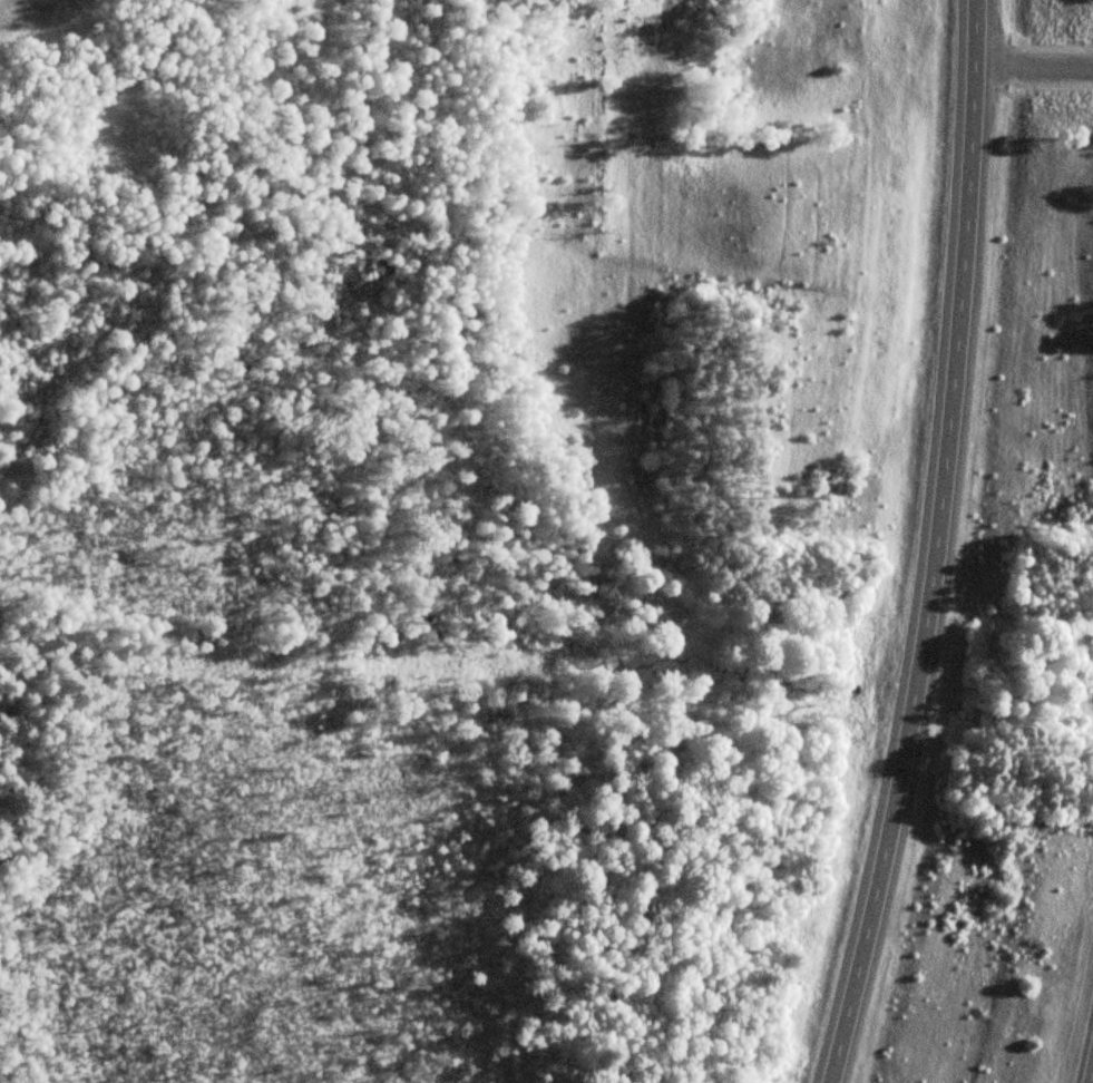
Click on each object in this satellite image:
road: (1033, 68)
road: (934, 545)
road: (1090, 1070)

